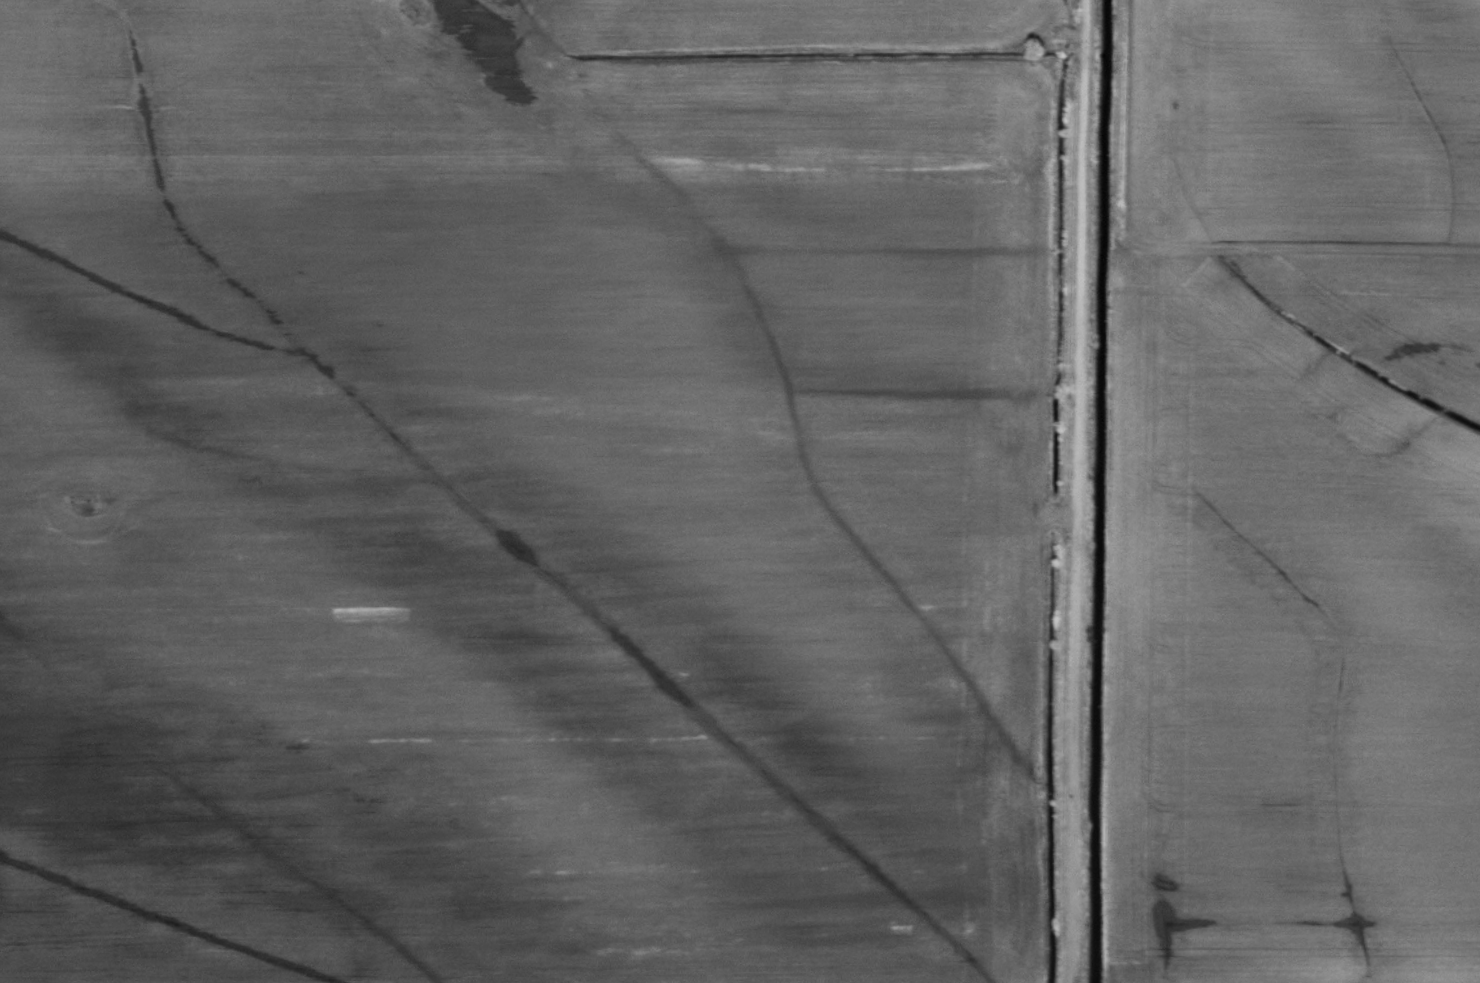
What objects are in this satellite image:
road: (1054, 491)

